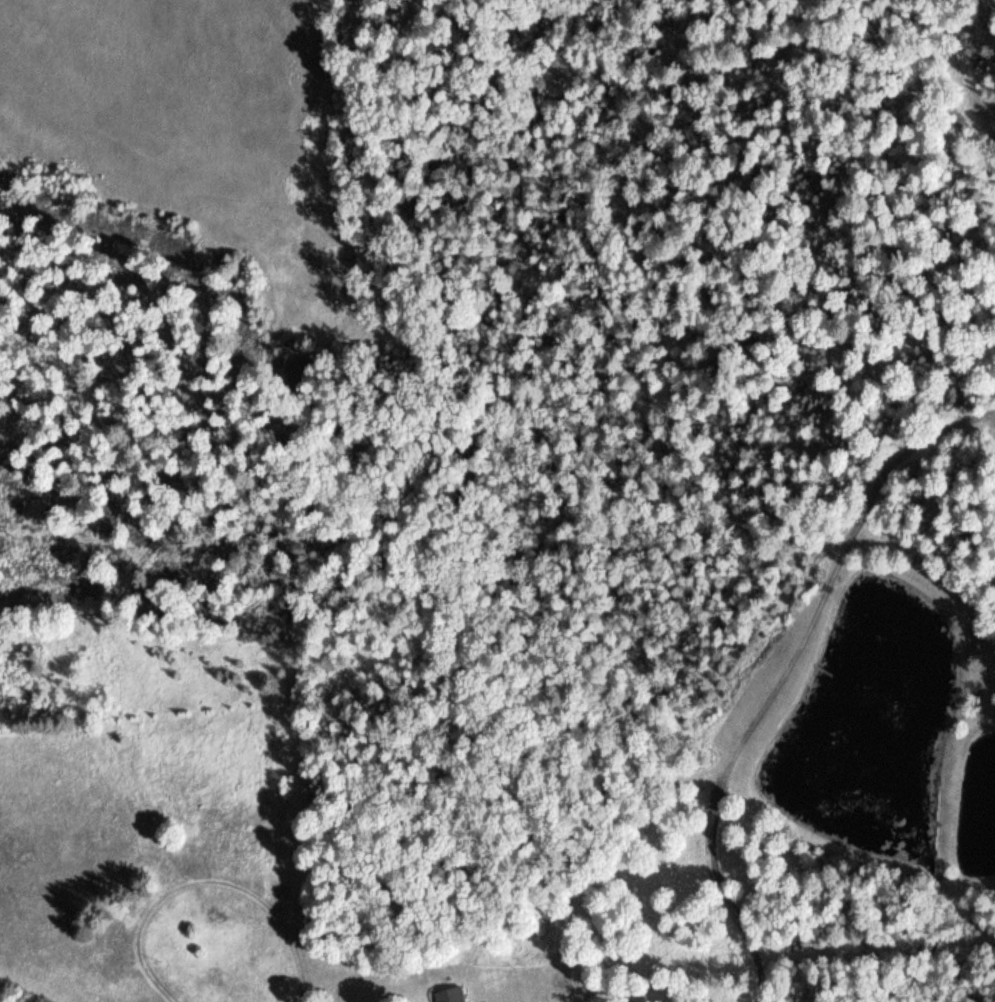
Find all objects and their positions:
road: (214, 884)
building: (450, 994)

